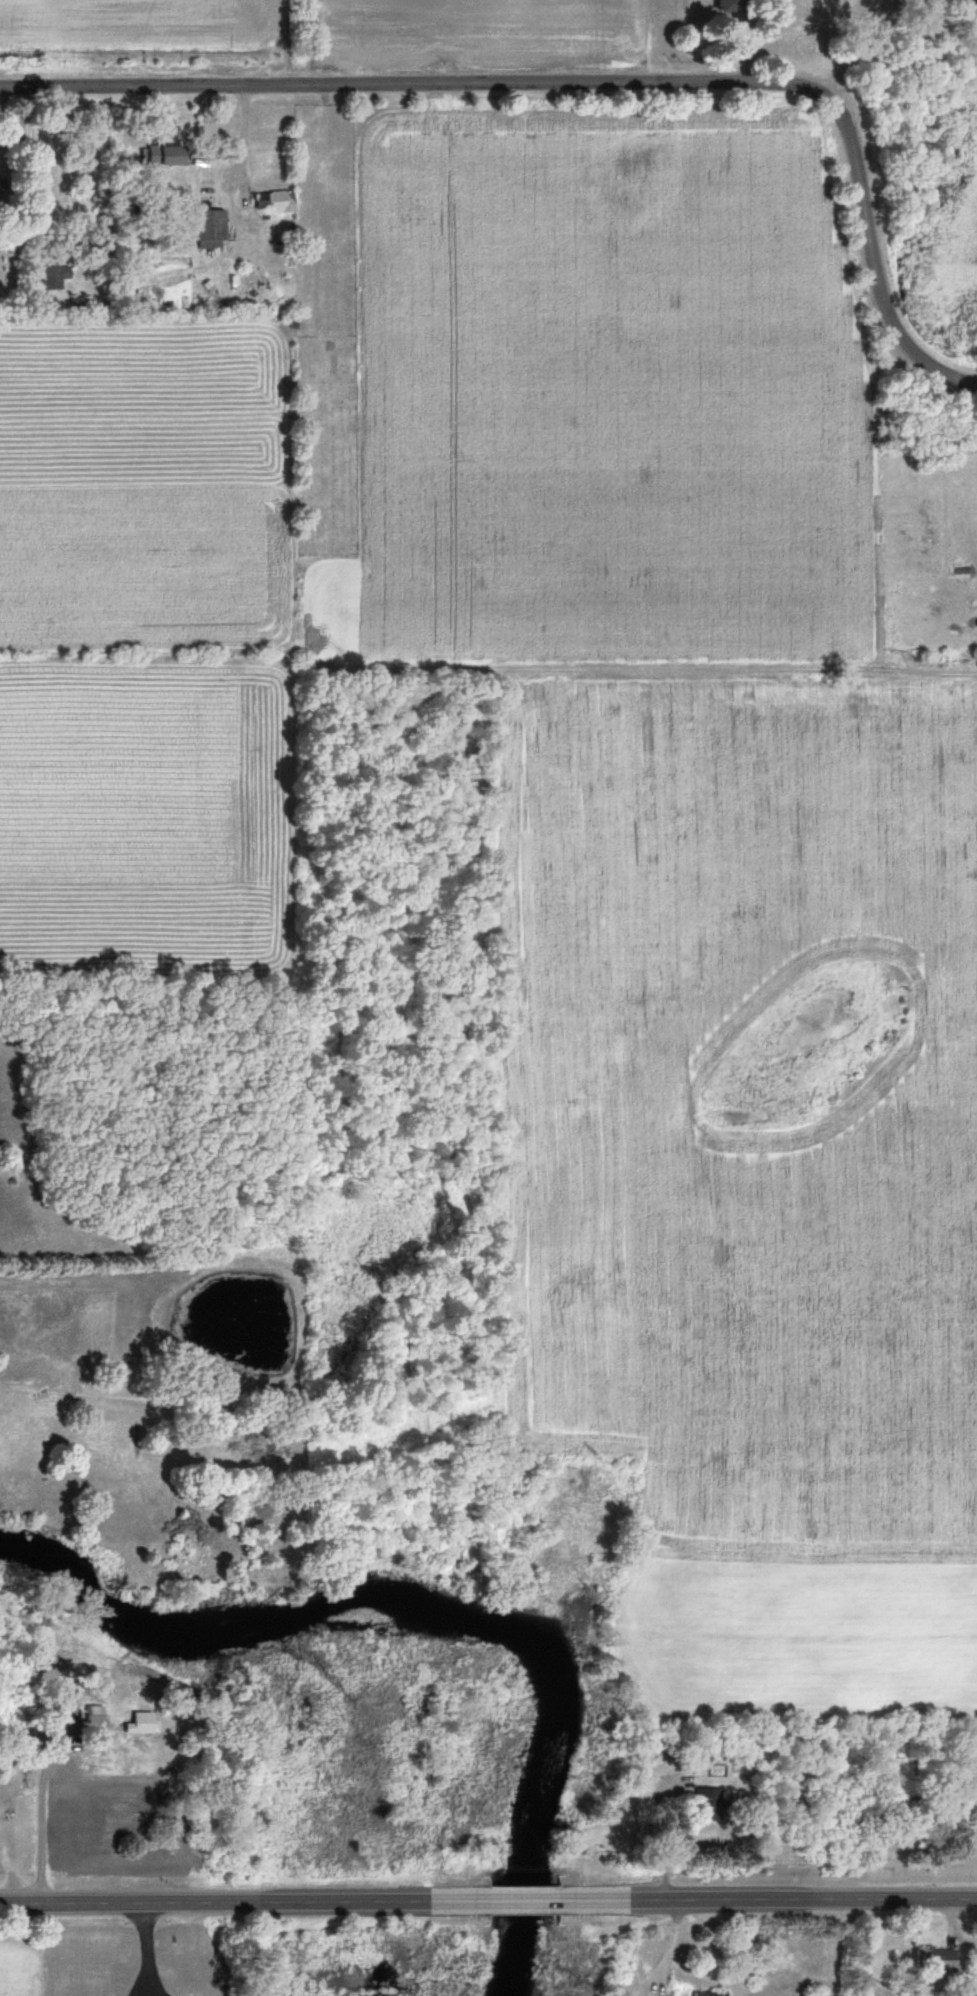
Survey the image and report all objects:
building: (721, 7)
road: (590, 77)
building: (159, 155)
building: (271, 201)
building: (206, 229)
building: (47, 270)
building: (73, 304)
road: (188, 1245)
river: (439, 1612)
building: (707, 1804)
road: (40, 1825)
road: (660, 1833)
road: (766, 1897)
road: (526, 1900)
road: (248, 1902)
road: (143, 1948)
road: (665, 1948)
building: (973, 1958)
building: (932, 1962)
building: (706, 1993)
road: (143, 1995)
road: (146, 1995)
building: (809, 1995)

